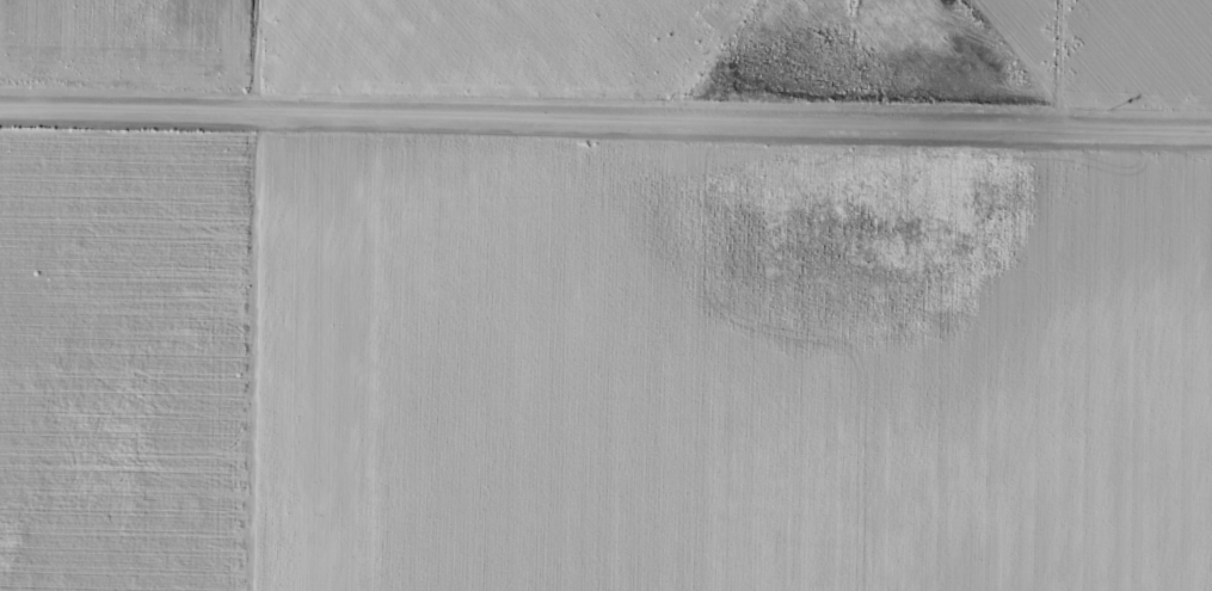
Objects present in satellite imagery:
road: (605, 143)
road: (235, 295)

